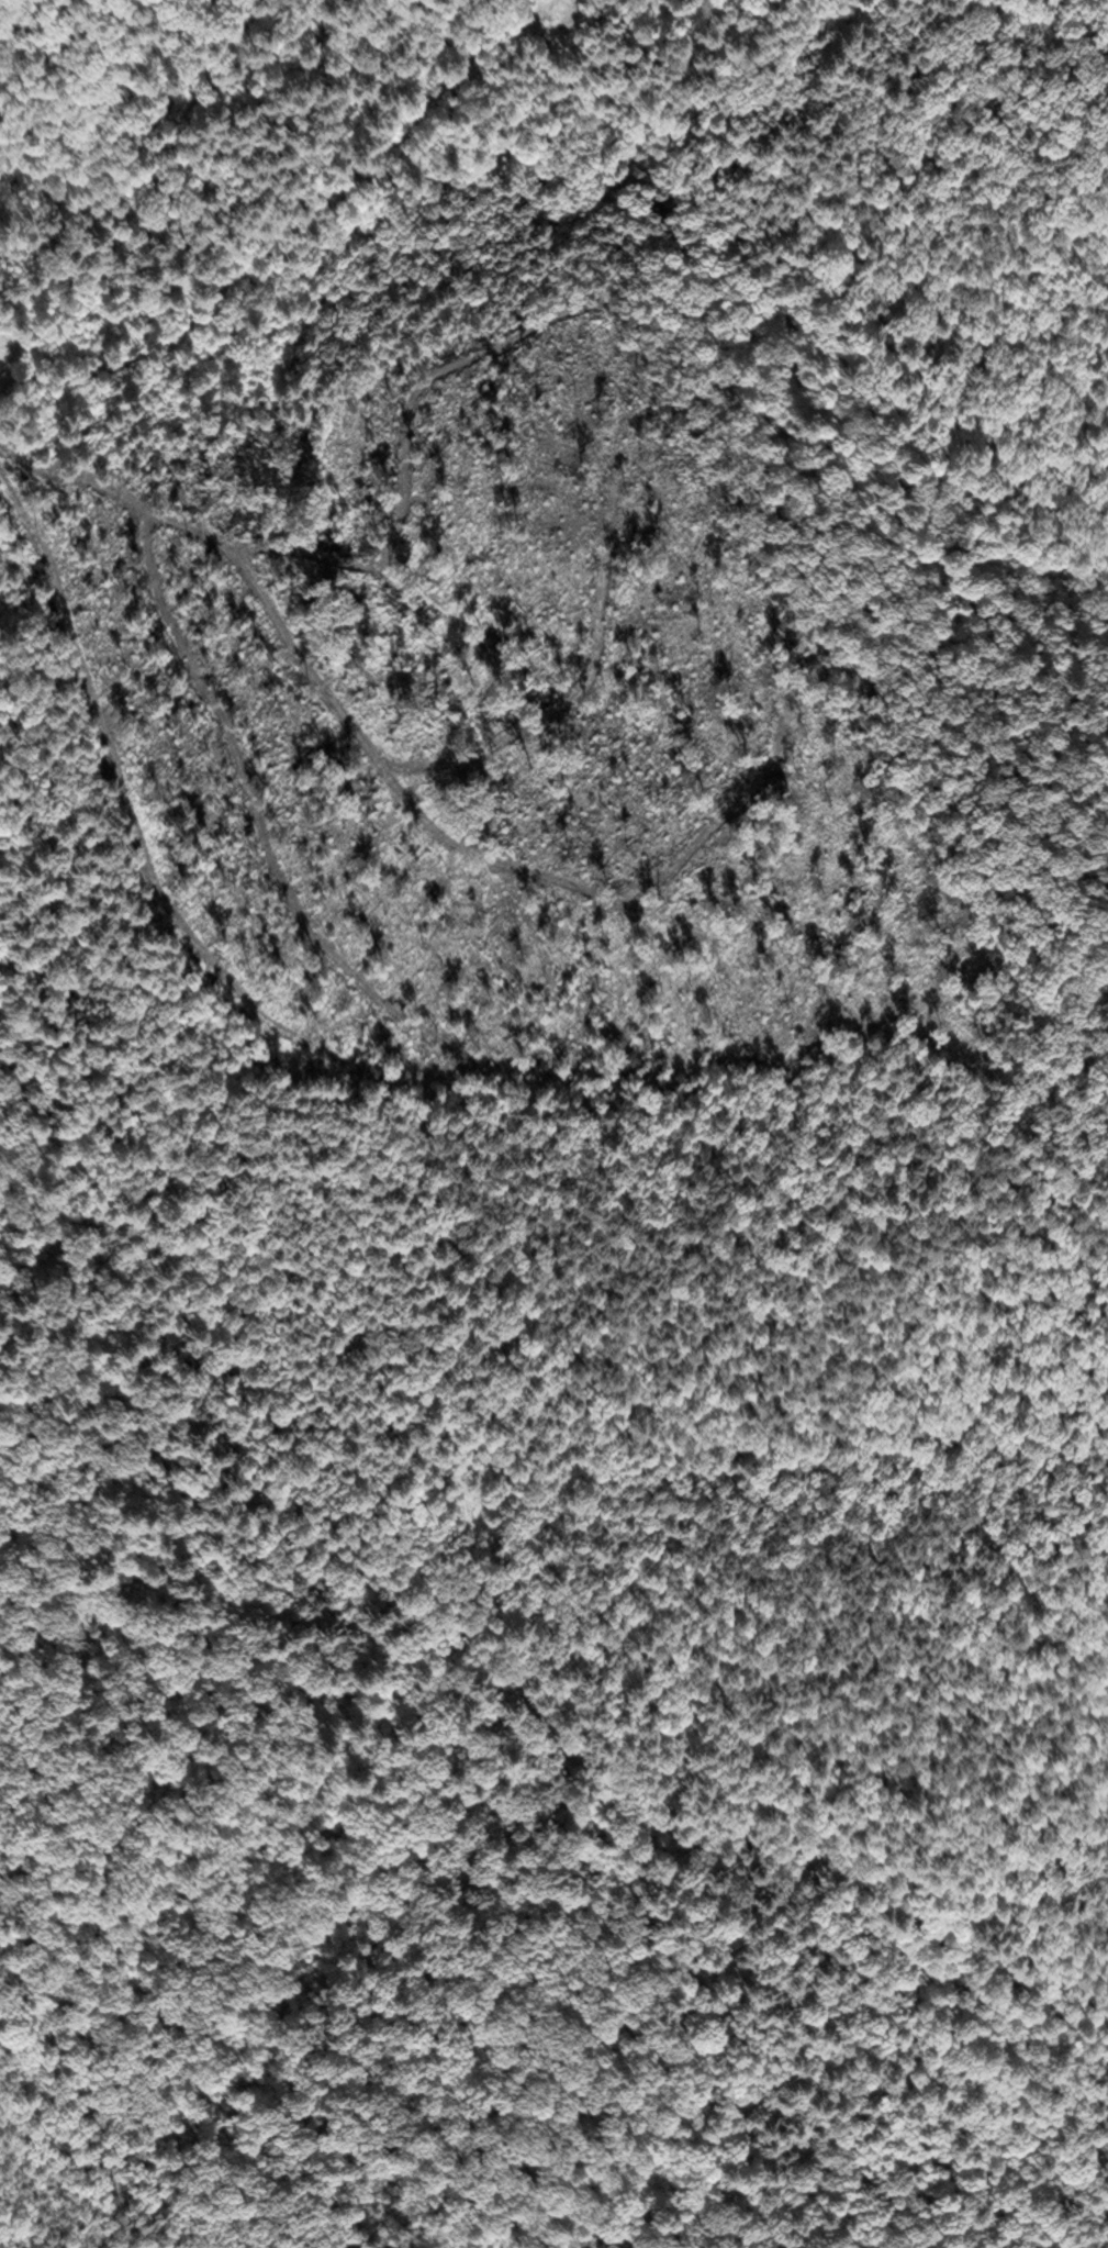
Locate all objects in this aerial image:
road: (302, 227)

